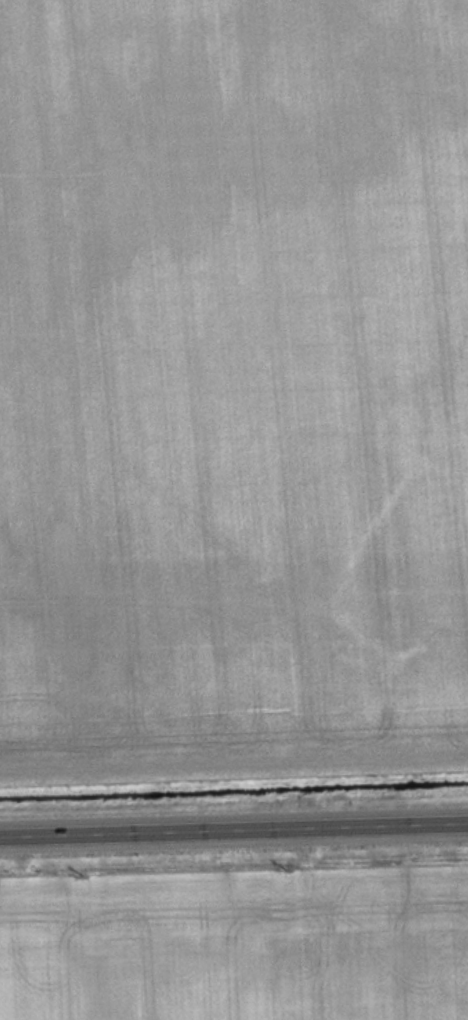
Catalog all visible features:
road: (234, 826)

